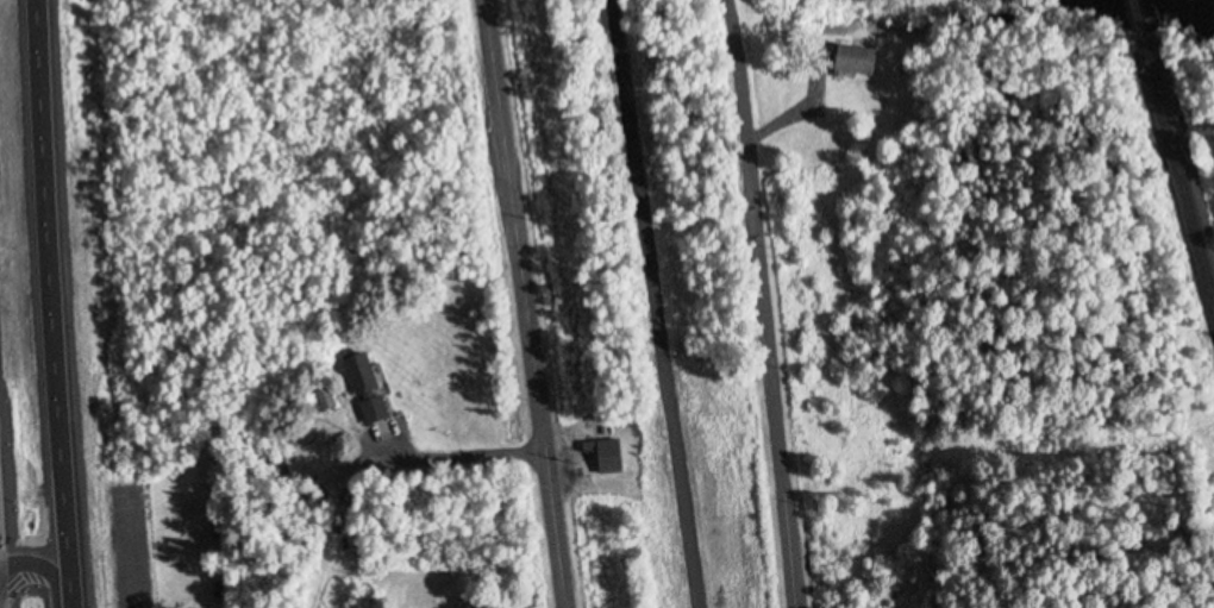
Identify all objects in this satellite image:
river: (1128, 6)
railway: (1144, 33)
building: (857, 58)
railway: (1184, 176)
road: (48, 303)
road: (521, 303)
road: (653, 303)
park: (639, 312)
road: (768, 337)
building: (368, 384)
road: (462, 453)
building: (608, 455)
road: (127, 545)
building: (483, 606)

